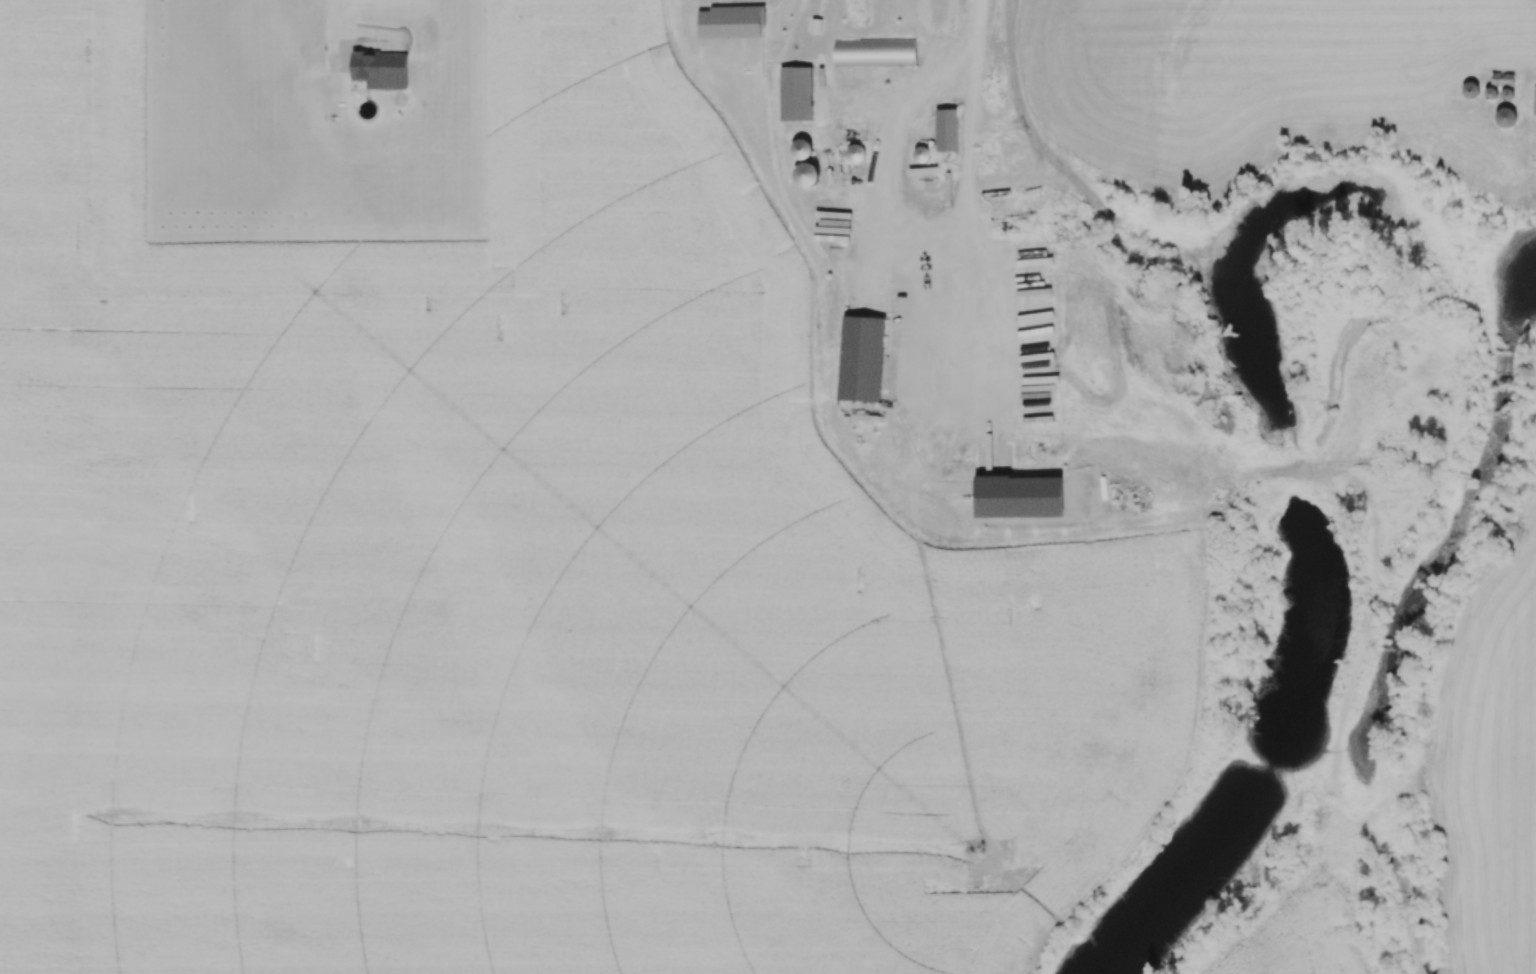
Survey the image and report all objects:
road: (974, 22)
road: (330, 35)
building: (875, 54)
building: (795, 93)
building: (945, 129)
road: (915, 248)

